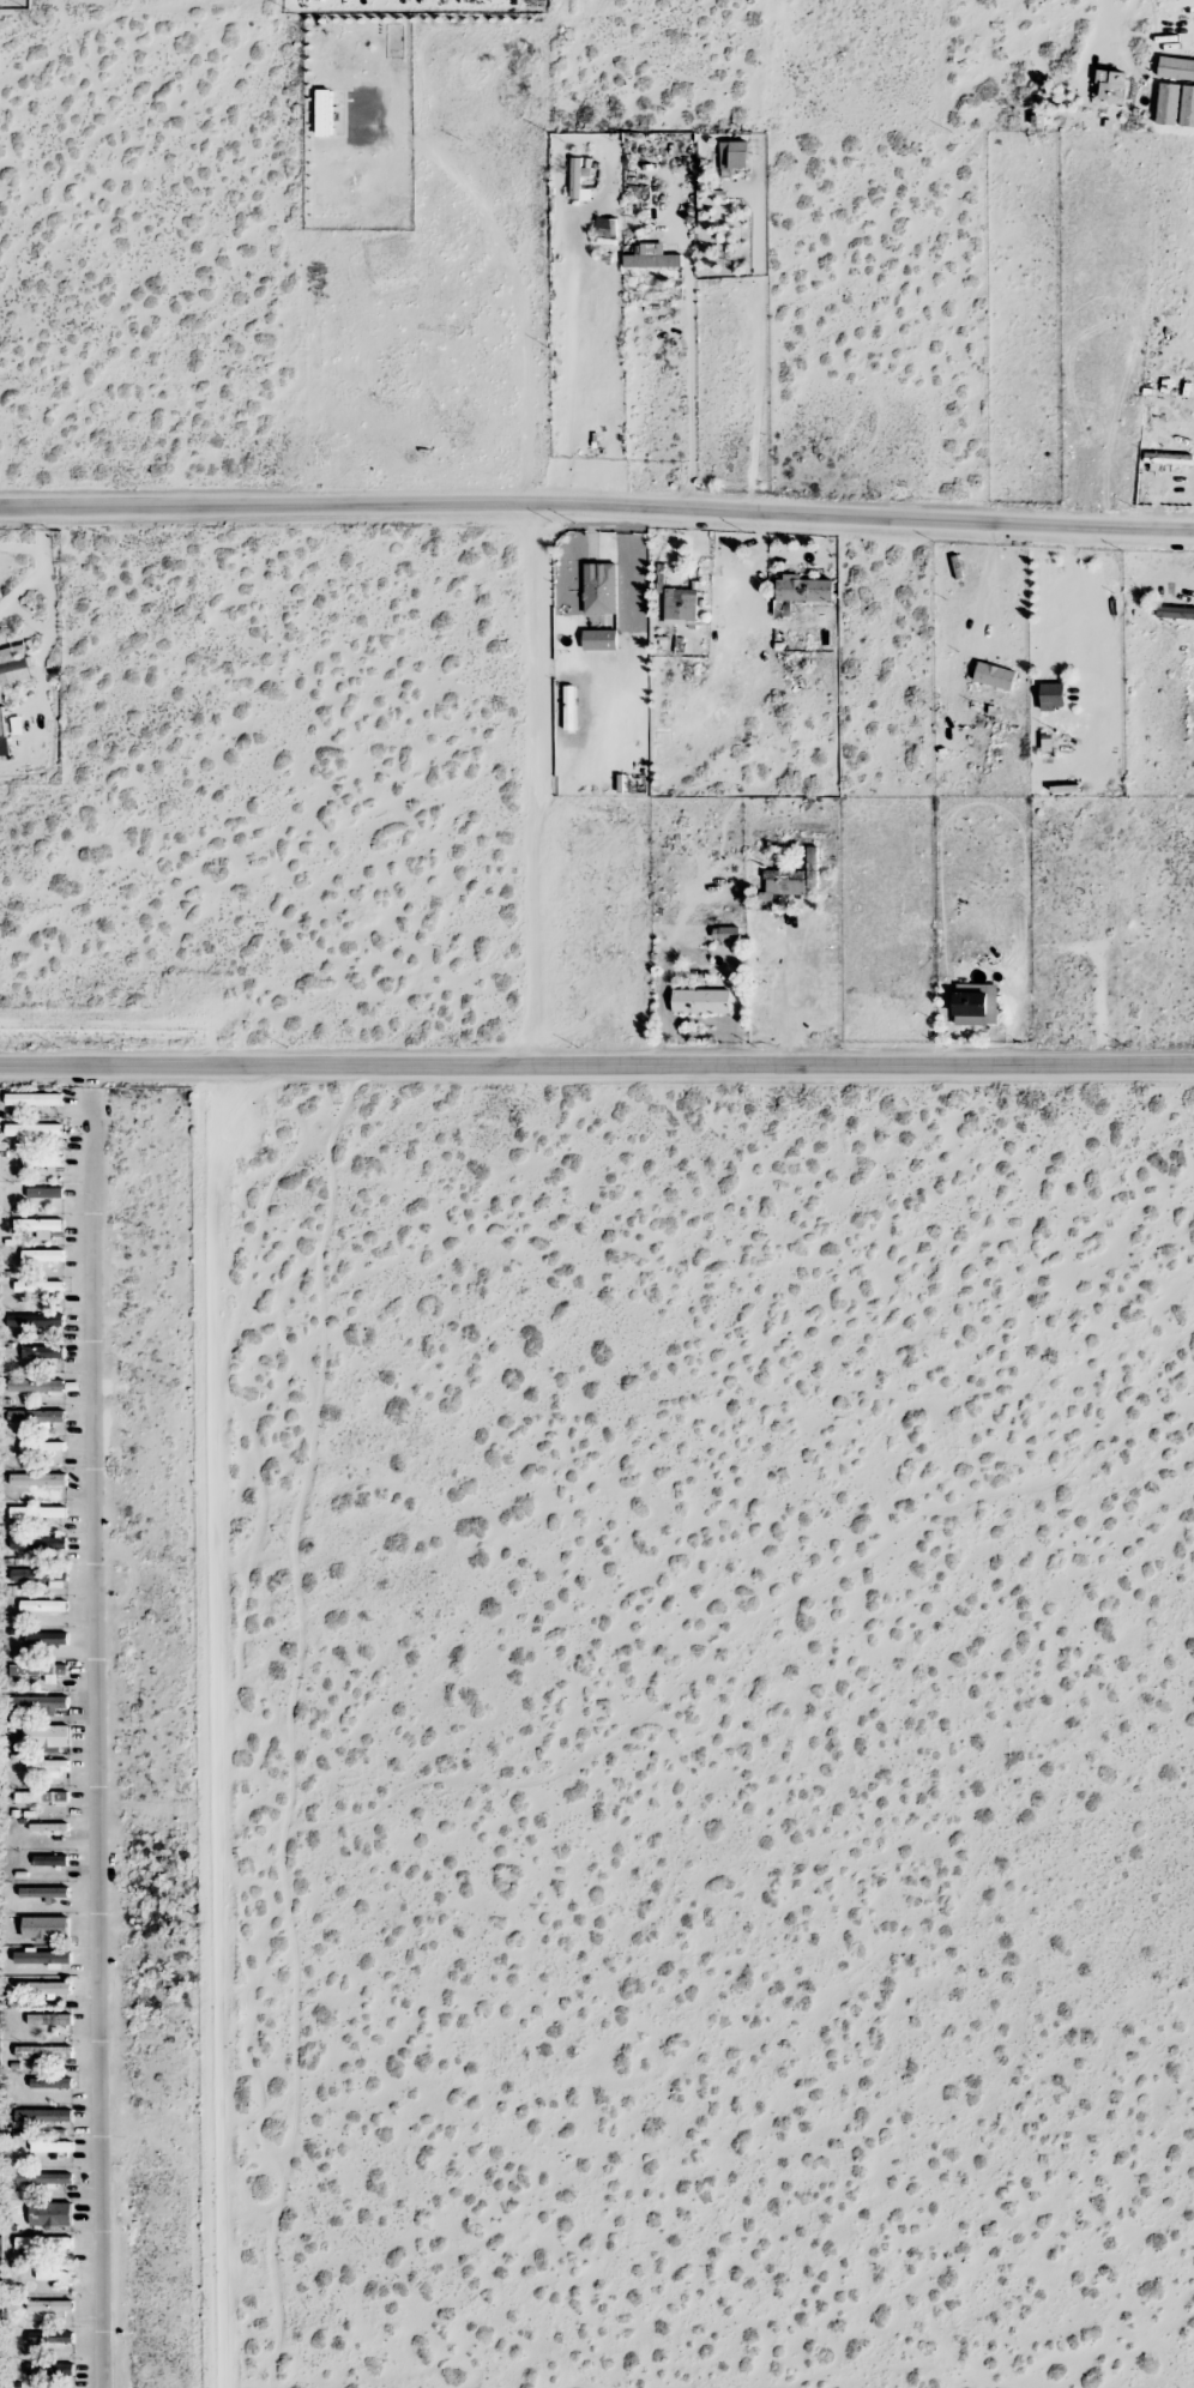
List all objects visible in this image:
building: (1176, 68)
building: (1112, 86)
building: (1168, 103)
building: (1187, 107)
building: (324, 113)
building: (732, 157)
building: (579, 177)
building: (605, 229)
building: (651, 257)
road: (597, 507)
road: (989, 575)
building: (599, 589)
building: (800, 592)
building: (680, 607)
road: (1084, 613)
building: (1175, 613)
building: (599, 640)
building: (14, 667)
building: (994, 676)
building: (1051, 696)
building: (2, 734)
road: (531, 784)
building: (725, 934)
building: (701, 1001)
building: (976, 1007)
road: (596, 1063)
building: (34, 1099)
building: (34, 1129)
building: (42, 1160)
building: (44, 1193)
building: (40, 1226)
building: (41, 1255)
building: (38, 1286)
building: (35, 1321)
building: (43, 1352)
building: (35, 1386)
building: (37, 1416)
building: (42, 1446)
building: (38, 1481)
building: (37, 1512)
building: (38, 1543)
building: (38, 1575)
building: (43, 1606)
building: (47, 1639)
building: (40, 1671)
road: (97, 1726)
building: (46, 1736)
building: (47, 1766)
building: (41, 1797)
building: (48, 1827)
building: (50, 1861)
building: (44, 1892)
building: (46, 1928)
building: (43, 1958)
building: (42, 1989)
building: (48, 2020)
building: (44, 2052)
building: (43, 2116)
building: (52, 2147)
building: (43, 2179)
building: (50, 2214)
building: (43, 2243)
building: (54, 2275)
building: (49, 2306)
building: (50, 2338)
building: (50, 2370)

